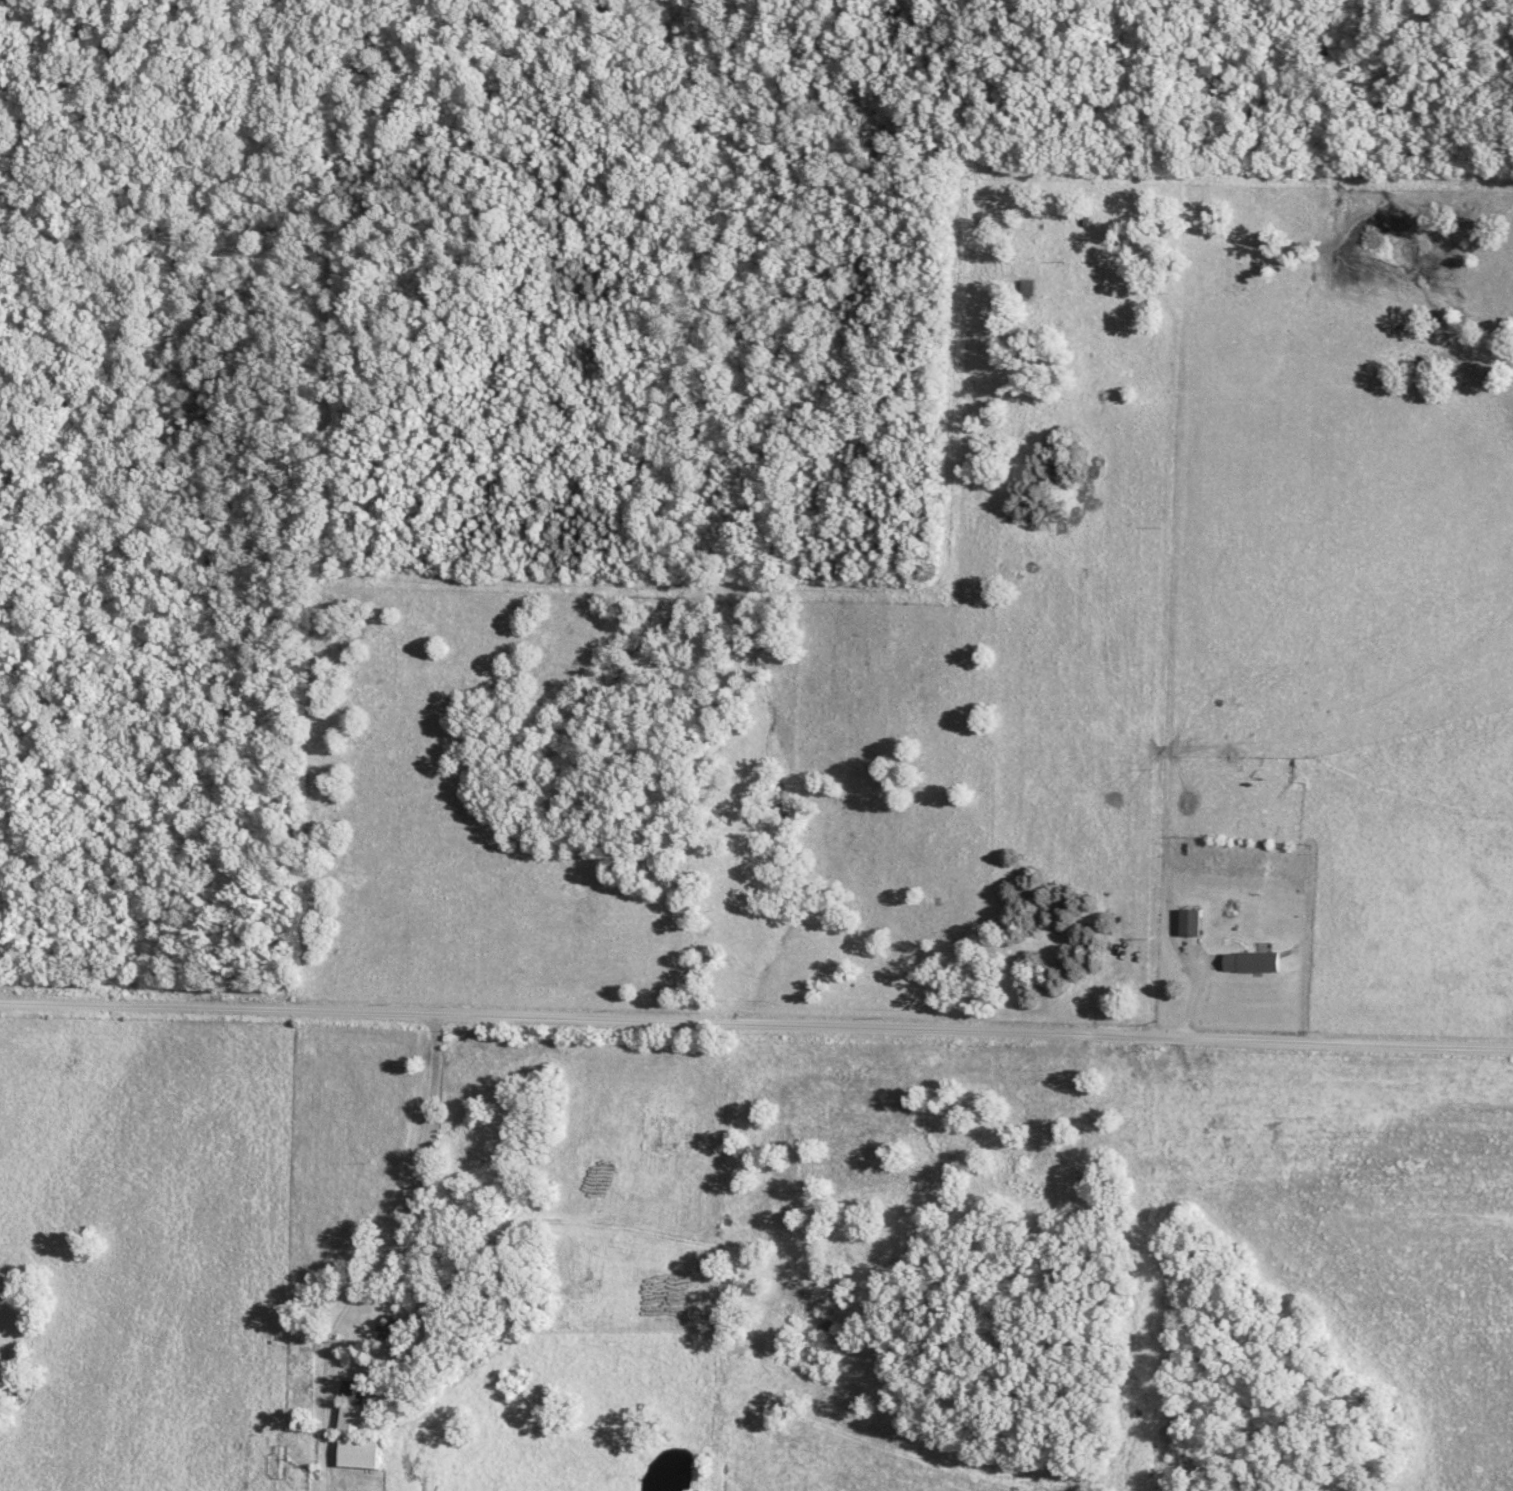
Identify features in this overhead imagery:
building: (1027, 287)
road: (1104, 702)
building: (1189, 921)
building: (1249, 961)
road: (756, 1024)
road: (397, 1228)
building: (388, 1327)
building: (351, 1406)
building: (356, 1453)

